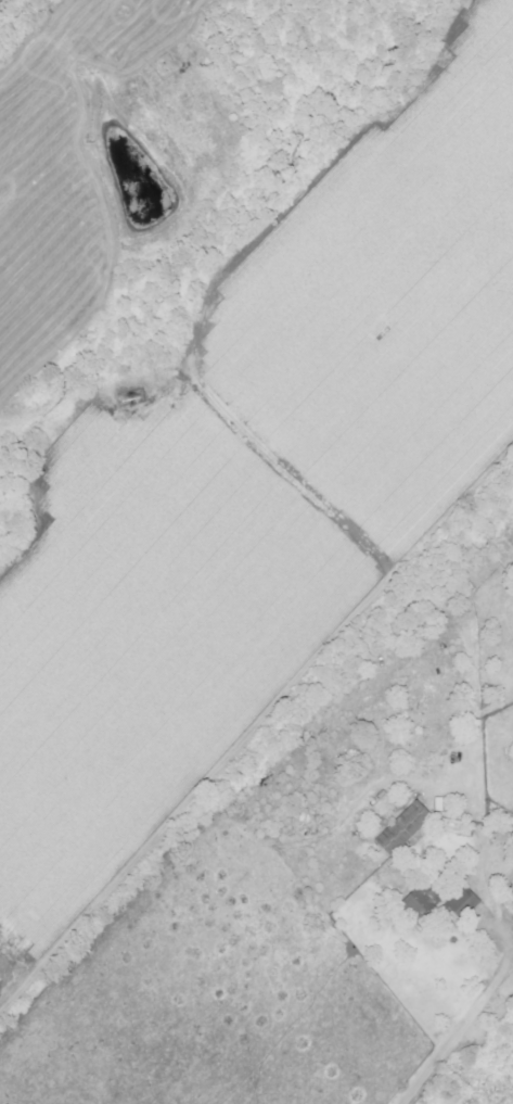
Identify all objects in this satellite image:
building: (407, 827)
building: (422, 901)
building: (466, 902)
road: (496, 980)

